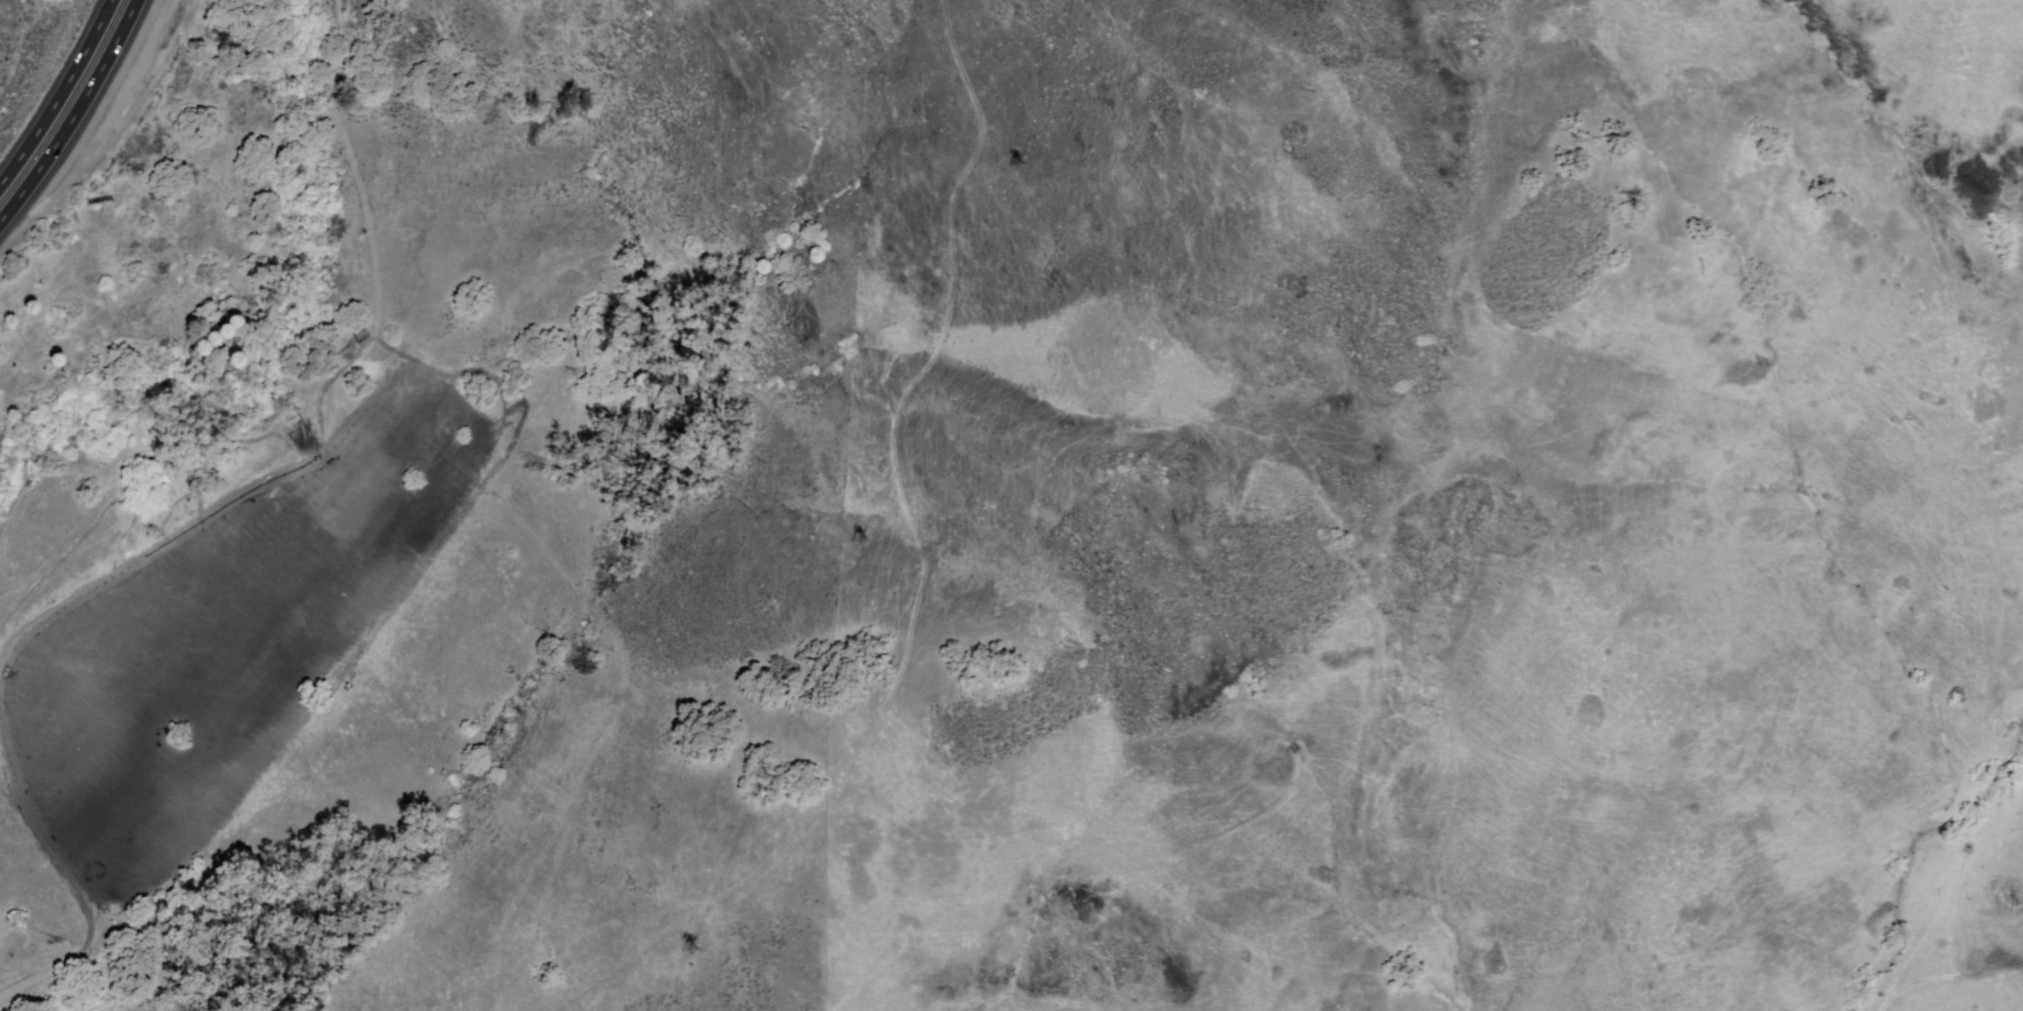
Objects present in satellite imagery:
road: (62, 97)
road: (76, 118)
power tower: (1011, 180)
power tower: (856, 559)
power tower: (683, 968)
road: (1945, 974)

